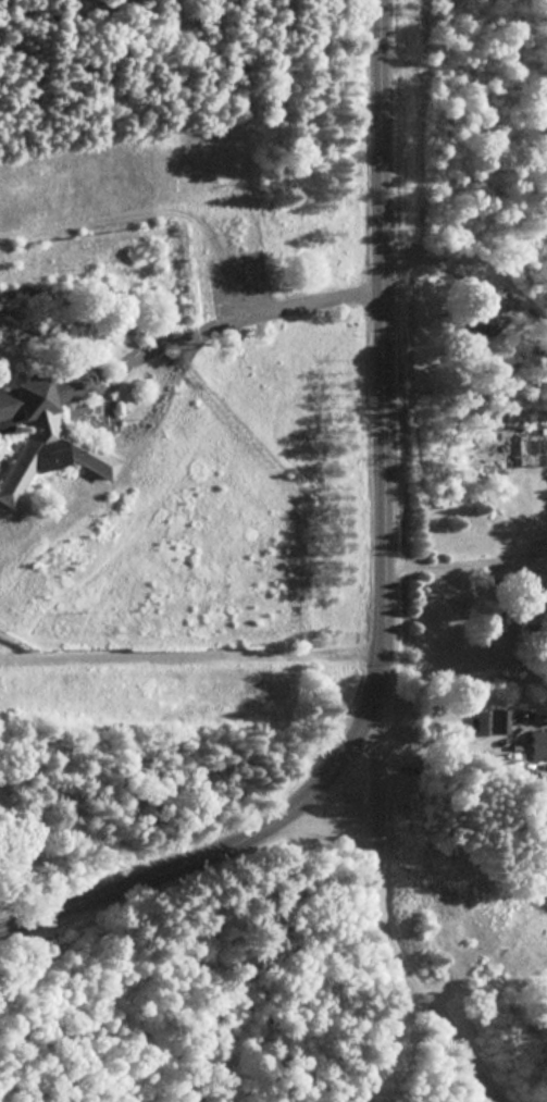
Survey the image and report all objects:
park: (465, 219)
building: (469, 320)
building: (47, 419)
road: (390, 582)
building: (497, 719)
road: (332, 831)
road: (383, 913)
park: (300, 965)

